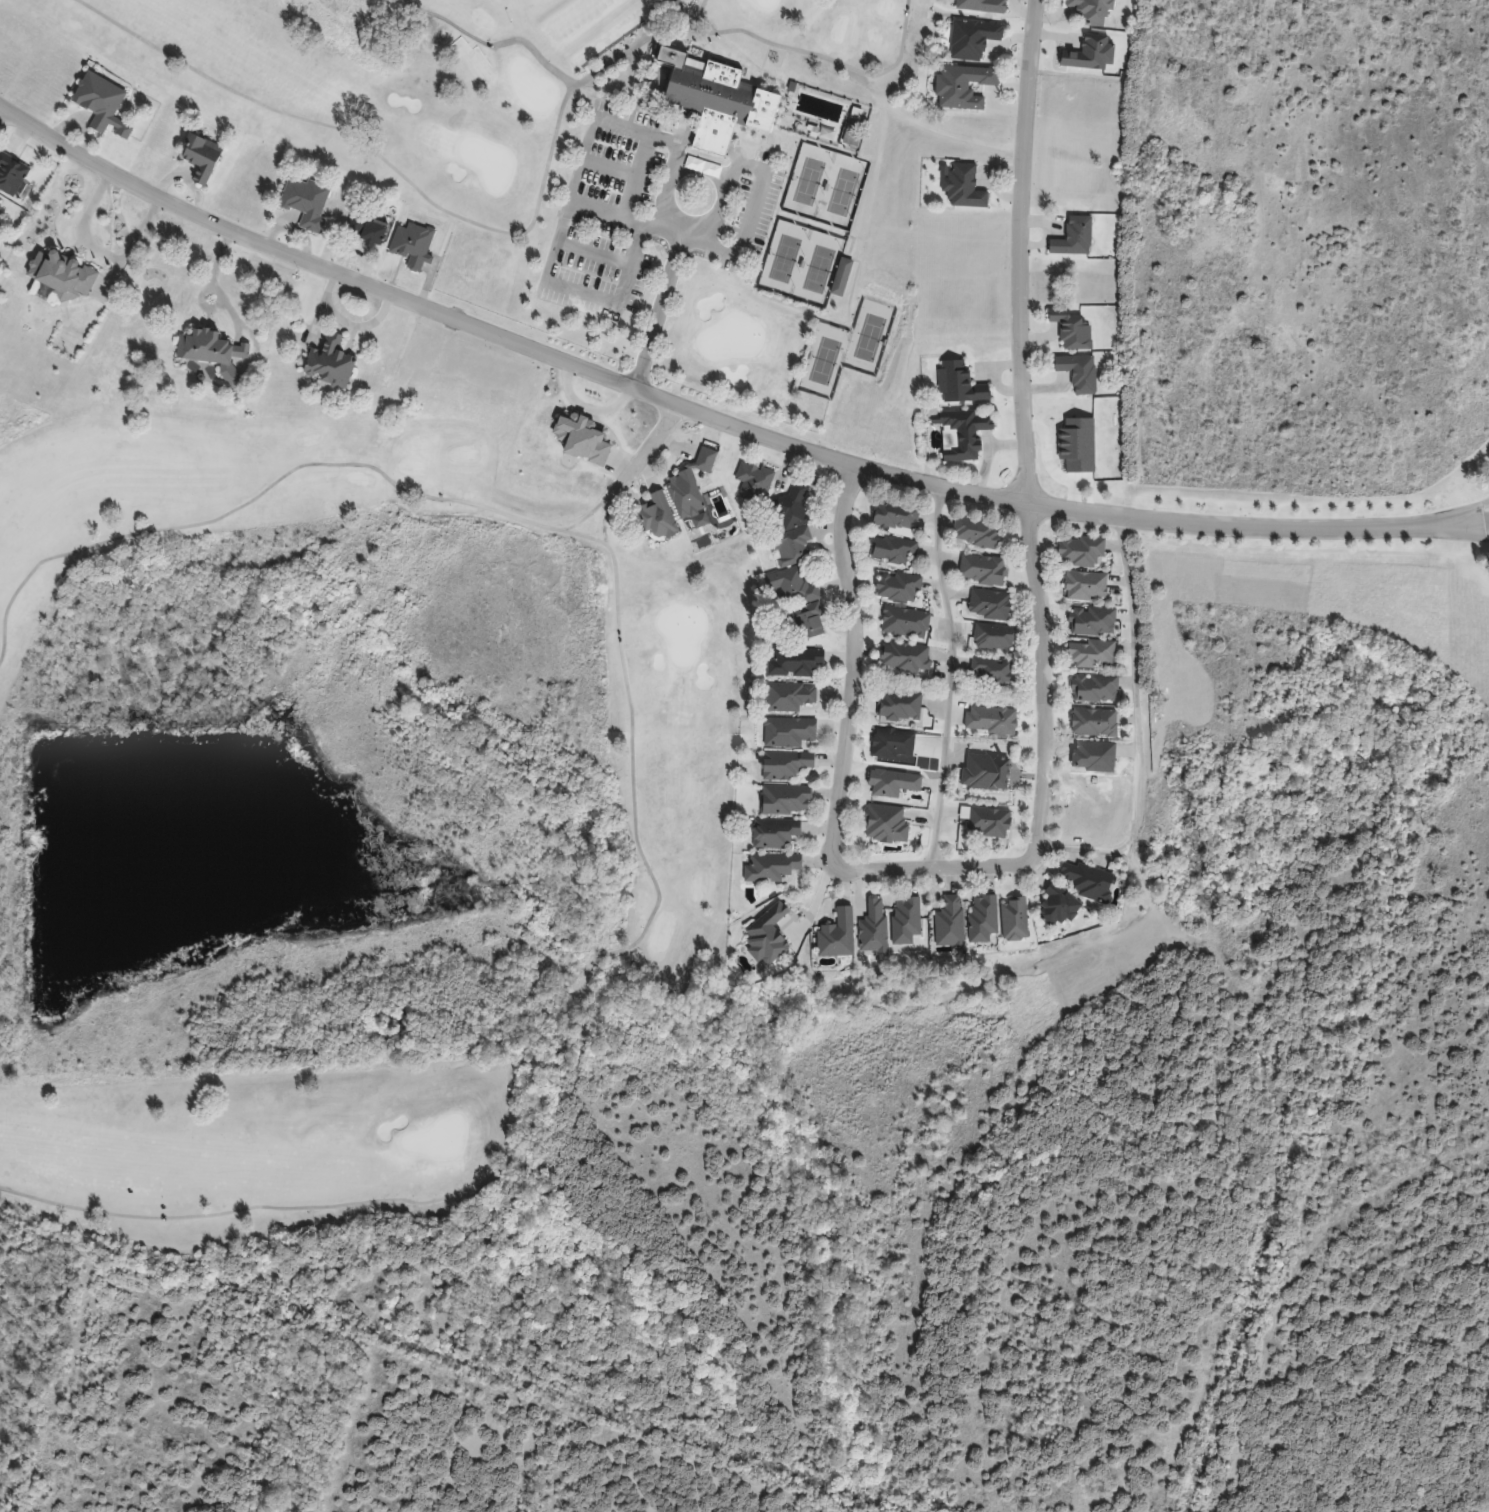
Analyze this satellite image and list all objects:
building: (978, 6)
building: (1093, 10)
road: (637, 41)
building: (974, 41)
road: (491, 44)
road: (819, 58)
building: (966, 90)
building: (711, 100)
building: (100, 103)
building: (853, 136)
road: (586, 139)
road: (372, 148)
building: (201, 158)
building: (12, 174)
building: (967, 188)
building: (308, 204)
building: (0, 209)
building: (368, 229)
building: (1076, 238)
building: (408, 246)
building: (58, 276)
building: (843, 277)
road: (213, 283)
road: (578, 293)
road: (347, 322)
building: (1075, 333)
building: (205, 348)
building: (325, 373)
building: (1080, 373)
building: (960, 384)
road: (716, 424)
road: (1022, 432)
building: (968, 433)
building: (586, 440)
building: (707, 460)
road: (637, 462)
building: (752, 482)
building: (684, 496)
building: (897, 516)
building: (656, 517)
building: (792, 526)
building: (978, 532)
building: (894, 549)
building: (1083, 551)
park: (393, 553)
building: (983, 570)
building: (1088, 586)
building: (900, 587)
building: (785, 591)
building: (991, 605)
building: (907, 622)
building: (1094, 622)
building: (797, 623)
building: (995, 638)
building: (1093, 655)
building: (907, 657)
building: (790, 666)
road: (852, 669)
building: (995, 672)
road: (949, 680)
building: (1097, 688)
building: (791, 699)
building: (901, 706)
building: (992, 721)
building: (1096, 723)
road: (1135, 727)
building: (786, 731)
building: (790, 766)
building: (988, 772)
building: (785, 799)
road: (633, 800)
building: (988, 821)
building: (888, 824)
building: (776, 835)
building: (774, 870)
road: (934, 870)
building: (1088, 880)
building: (1059, 907)
building: (985, 918)
building: (907, 920)
building: (1016, 920)
building: (951, 922)
building: (875, 928)
building: (839, 935)
building: (767, 942)

